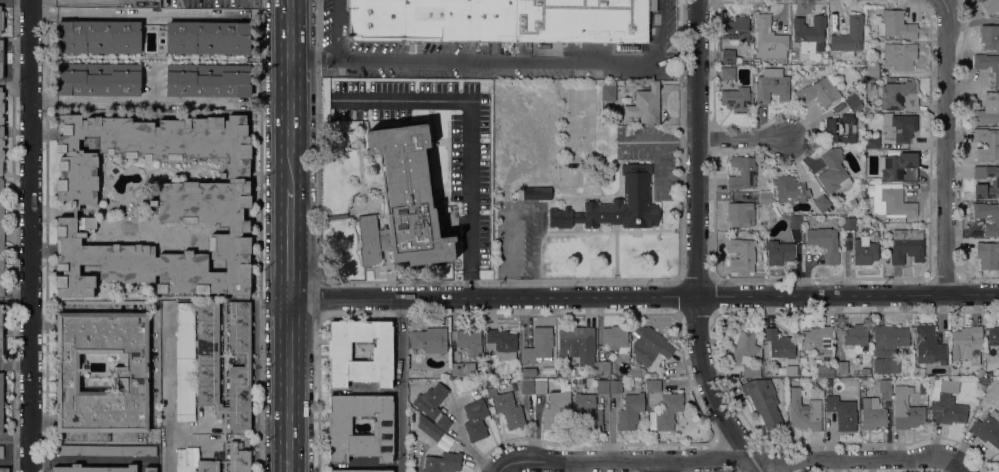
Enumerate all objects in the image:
road: (81, 2)
building: (651, 5)
building: (990, 5)
road: (140, 12)
building: (1, 20)
building: (499, 20)
building: (896, 25)
road: (336, 29)
building: (735, 31)
building: (809, 34)
building: (98, 36)
building: (990, 36)
building: (208, 38)
building: (768, 38)
building: (849, 38)
building: (727, 55)
building: (899, 55)
building: (1, 58)
building: (738, 60)
road: (505, 61)
building: (756, 61)
building: (988, 64)
building: (872, 70)
building: (727, 73)
building: (98, 79)
building: (208, 80)
building: (771, 85)
building: (608, 90)
building: (819, 92)
road: (290, 94)
building: (899, 95)
building: (736, 99)
road: (202, 101)
building: (853, 103)
building: (645, 105)
building: (988, 109)
building: (899, 127)
building: (1, 129)
building: (840, 129)
road: (43, 133)
road: (469, 140)
road: (659, 141)
road: (743, 141)
building: (872, 142)
building: (987, 144)
road: (948, 147)
road: (658, 164)
building: (899, 167)
building: (833, 171)
building: (742, 172)
building: (995, 182)
building: (862, 187)
building: (789, 189)
building: (568, 190)
building: (536, 193)
building: (765, 198)
building: (404, 202)
building: (821, 203)
building: (853, 203)
building: (894, 203)
building: (157, 204)
building: (615, 204)
building: (740, 214)
building: (995, 219)
building: (795, 222)
building: (848, 223)
railway: (295, 235)
road: (30, 236)
building: (1, 240)
road: (289, 243)
building: (824, 243)
road: (696, 245)
building: (906, 245)
building: (864, 251)
building: (779, 252)
building: (741, 255)
building: (987, 255)
building: (89, 269)
road: (15, 296)
road: (643, 297)
road: (84, 301)
building: (1, 334)
building: (615, 338)
building: (855, 338)
building: (993, 338)
building: (429, 340)
building: (469, 341)
building: (967, 342)
building: (579, 343)
building: (818, 343)
building: (500, 344)
building: (779, 344)
building: (743, 345)
building: (929, 345)
building: (539, 346)
building: (650, 346)
building: (887, 348)
building: (339, 352)
building: (212, 361)
building: (841, 367)
building: (604, 368)
building: (462, 369)
building: (791, 370)
building: (634, 371)
building: (751, 371)
building: (865, 371)
building: (919, 371)
building: (130, 372)
building: (823, 372)
building: (980, 372)
building: (819, 381)
building: (861, 382)
building: (827, 384)
road: (288, 385)
road: (400, 385)
building: (653, 385)
building: (540, 386)
building: (602, 386)
building: (615, 386)
building: (527, 387)
building: (884, 388)
road: (168, 389)
building: (1, 400)
building: (763, 400)
building: (945, 402)
building: (433, 405)
building: (443, 405)
building: (556, 407)
building: (506, 408)
building: (905, 409)
building: (587, 411)
building: (629, 411)
building: (666, 412)
building: (803, 412)
building: (842, 412)
building: (872, 413)
building: (475, 420)
building: (339, 428)
building: (429, 429)
building: (987, 429)
road: (16, 437)
building: (106, 450)
building: (1, 451)
building: (239, 456)
building: (998, 456)
building: (193, 461)
road: (728, 461)
road: (16, 462)
building: (442, 462)
road: (659, 467)
road: (960, 467)
building: (94, 469)
building: (150, 469)
building: (4, 470)
building: (361, 471)
road: (499, 471)
building: (998, 471)

